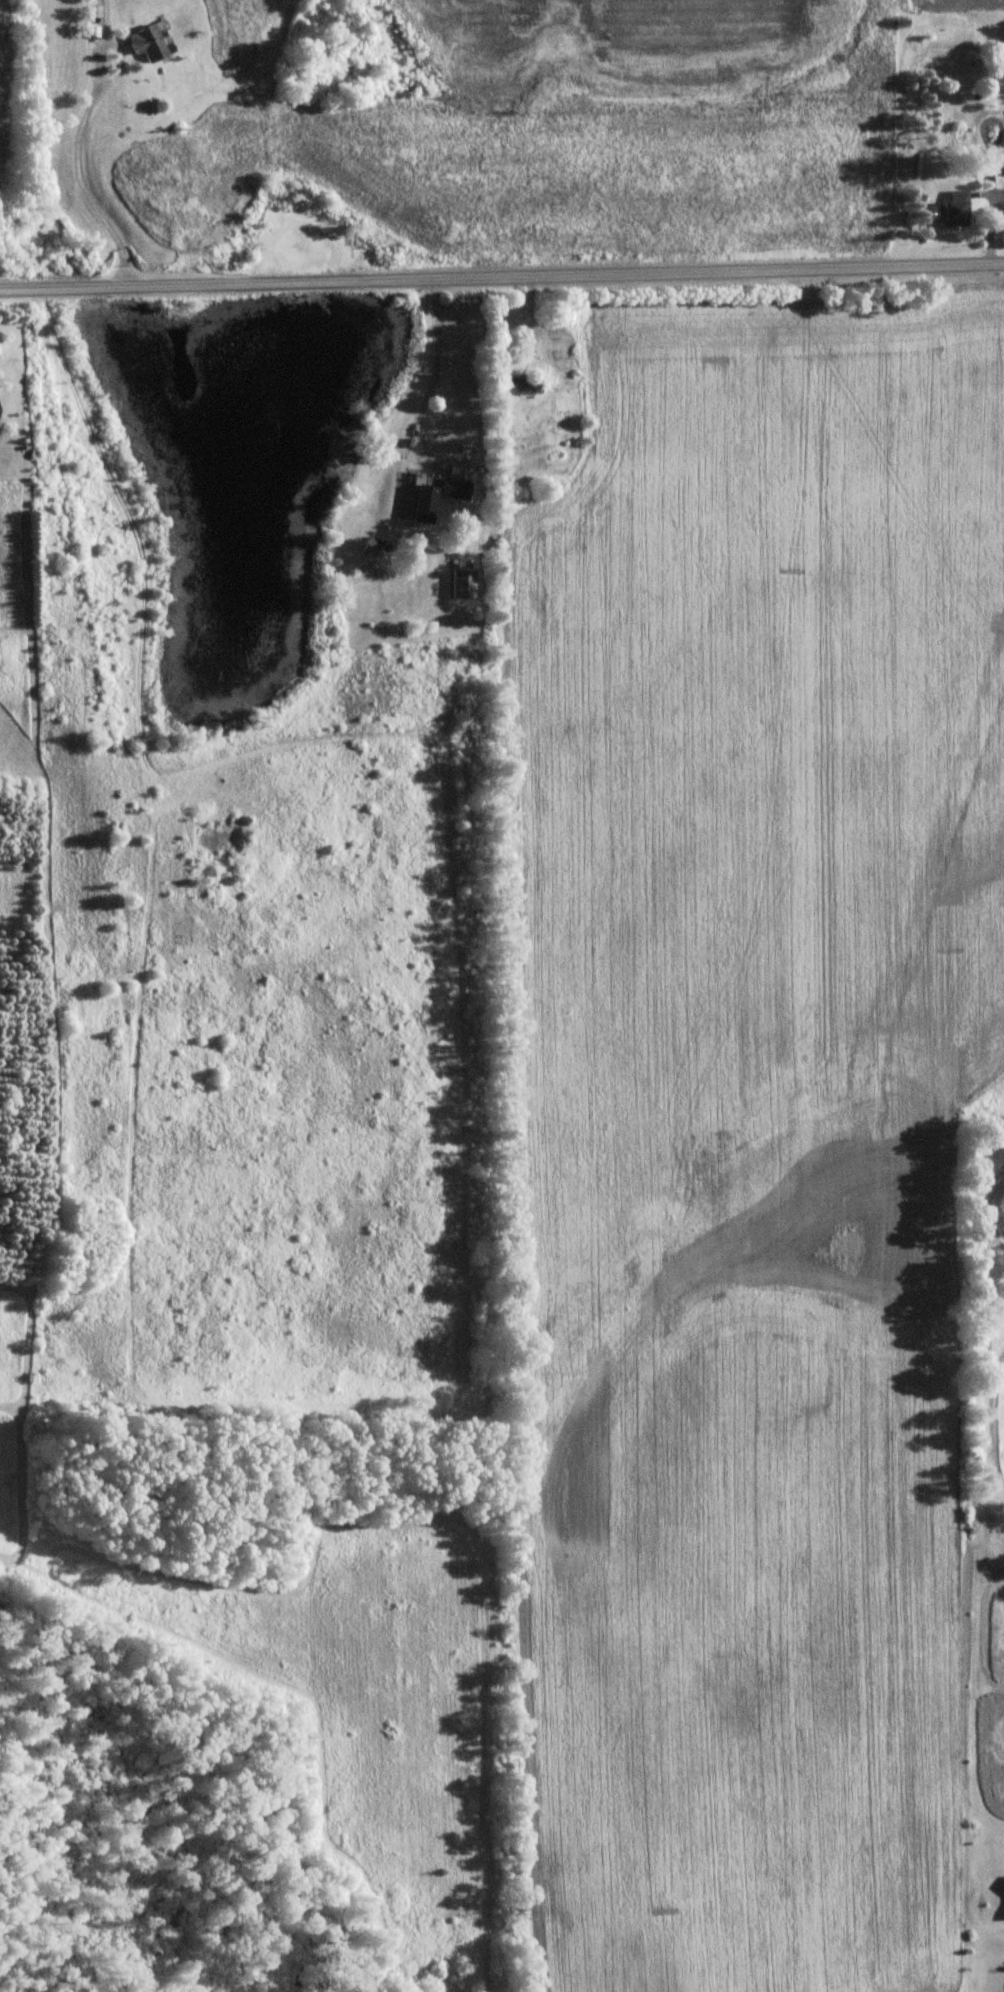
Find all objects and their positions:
building: (150, 41)
building: (950, 207)
road: (502, 279)
building: (523, 383)
building: (453, 486)
building: (421, 496)
building: (461, 581)

